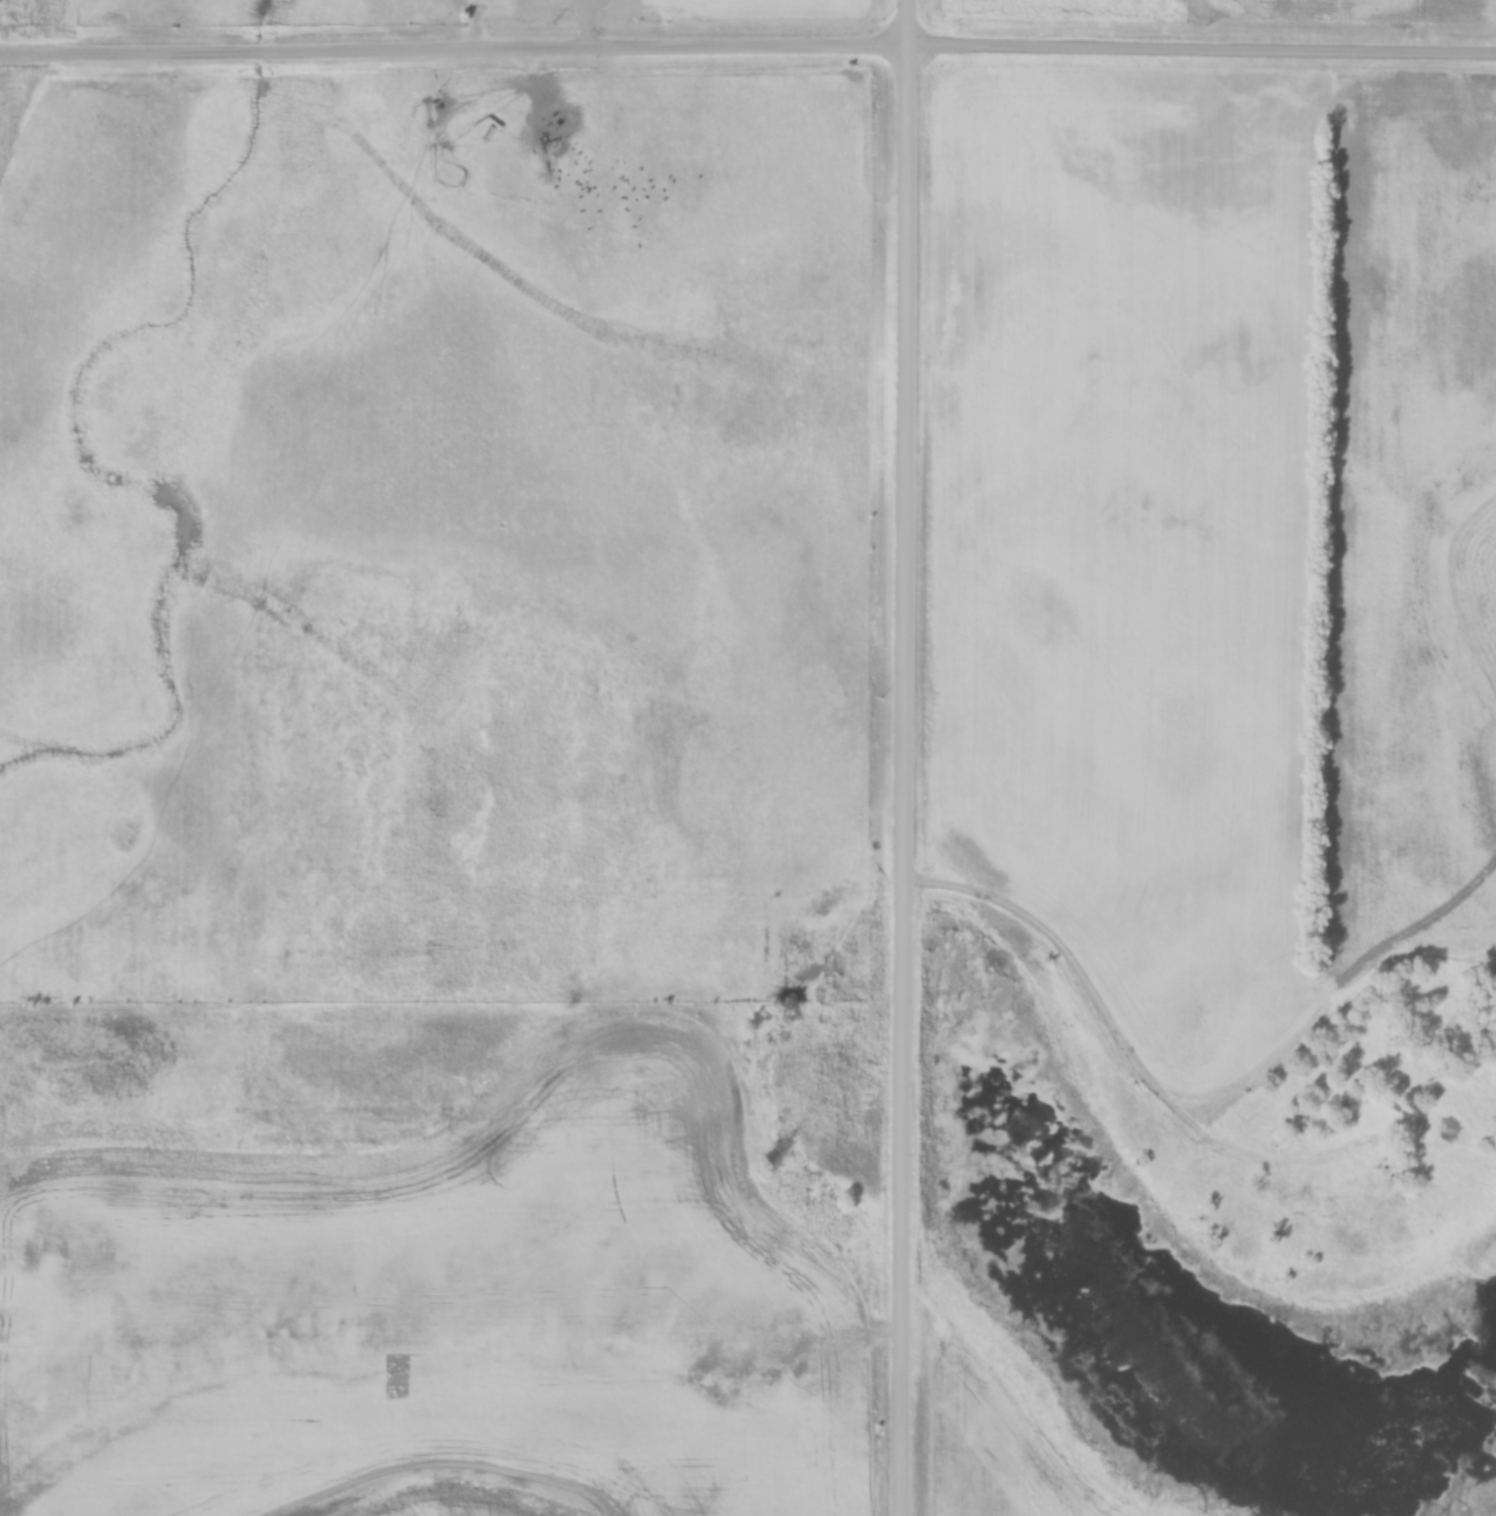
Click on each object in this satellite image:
road: (748, 47)
road: (906, 757)

